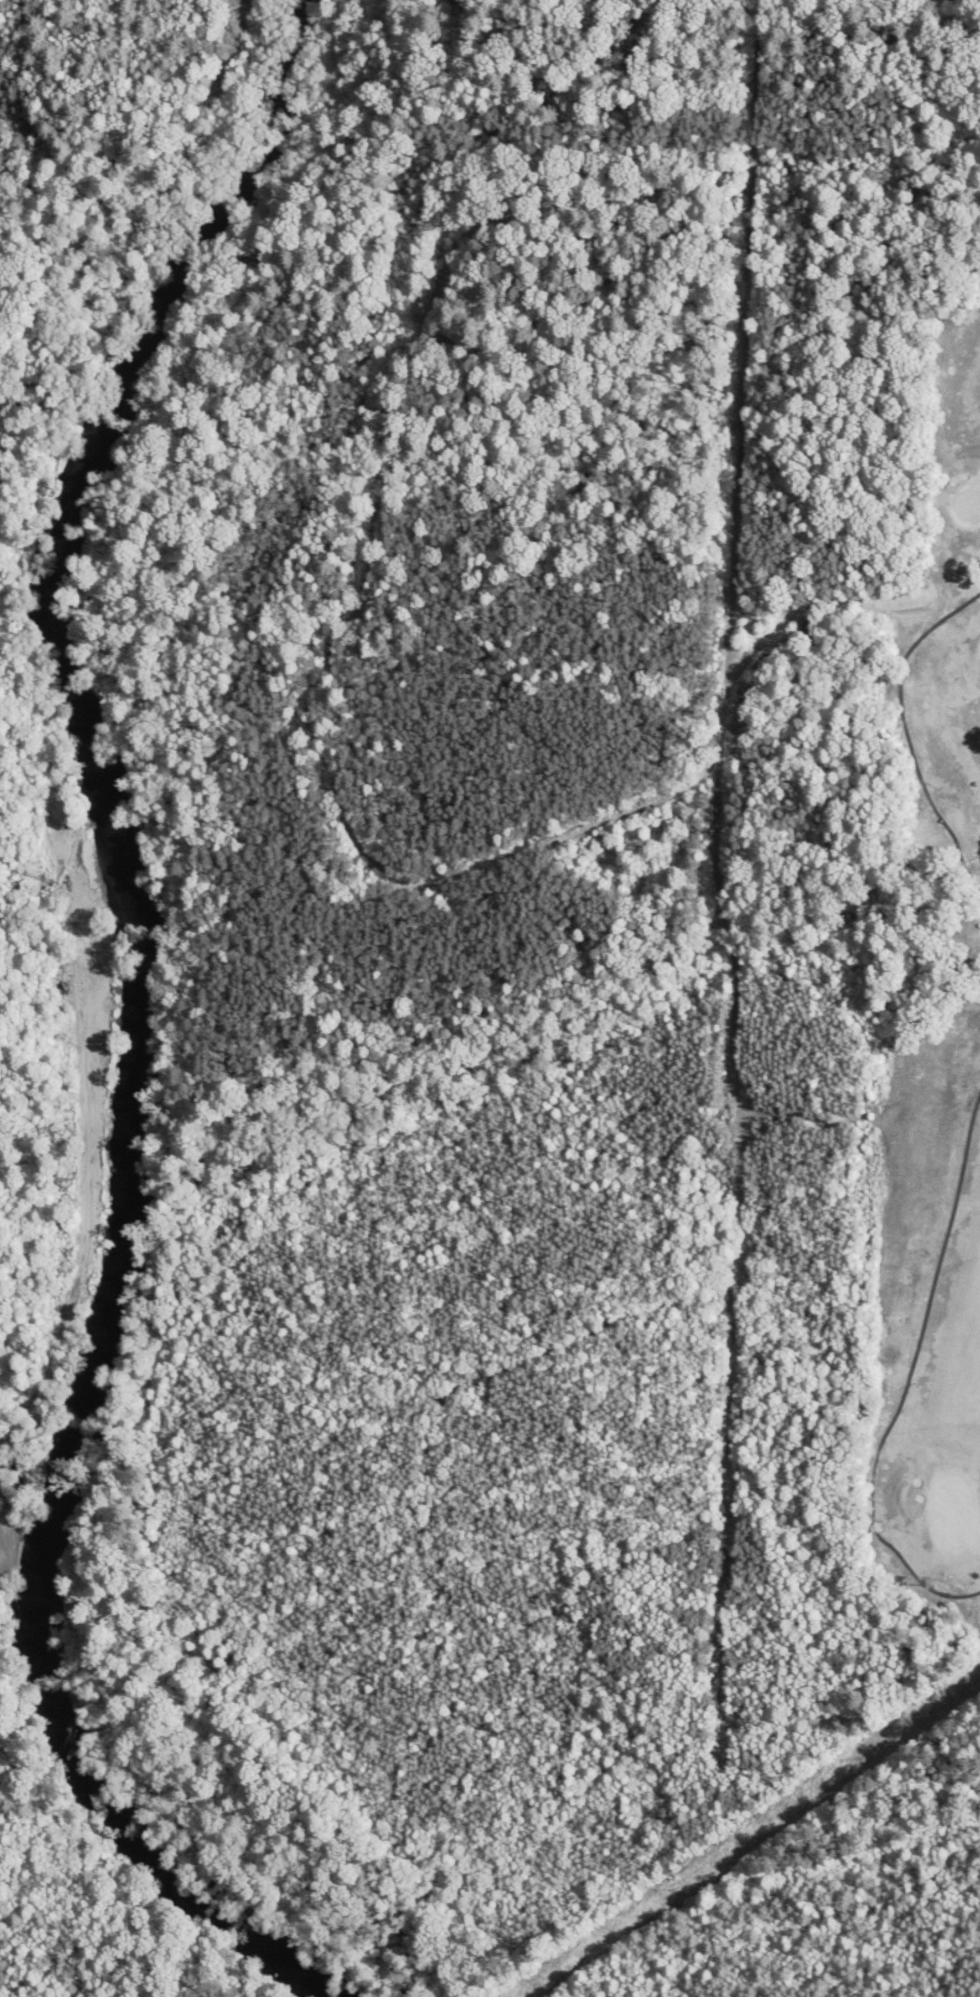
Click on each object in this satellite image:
river: (249, 163)
river: (148, 345)
river: (90, 432)
road: (907, 732)
river: (158, 1004)
park: (915, 1094)
road: (908, 1377)
river: (101, 1805)

